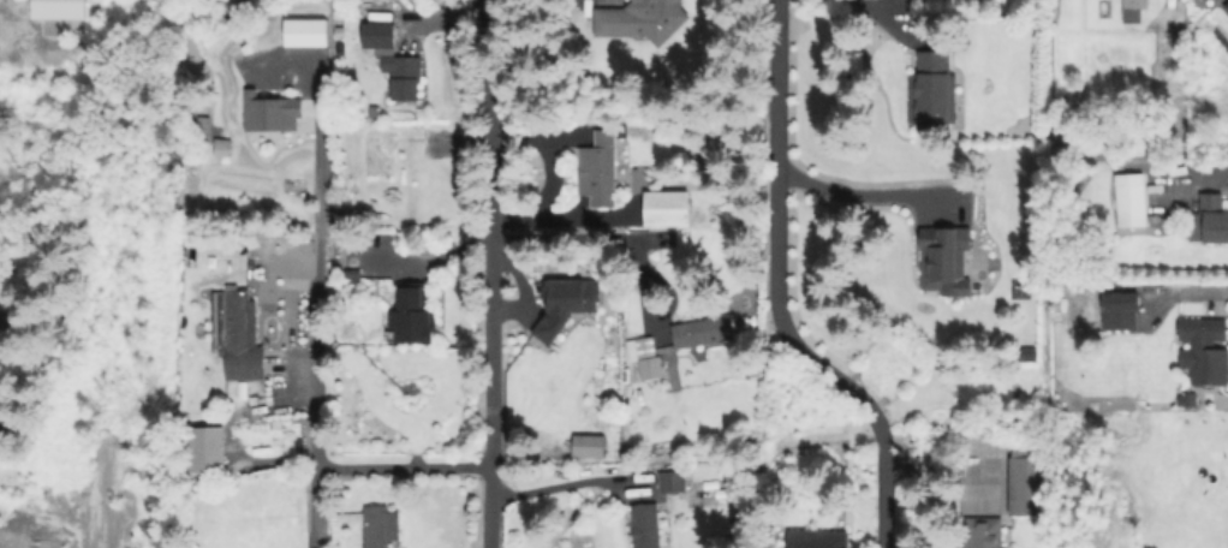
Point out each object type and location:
building: (1227, 6)
building: (64, 8)
building: (1134, 11)
building: (644, 20)
road: (881, 20)
building: (303, 34)
building: (391, 62)
building: (934, 93)
building: (273, 113)
building: (202, 131)
building: (223, 147)
road: (321, 156)
building: (376, 157)
building: (601, 169)
road: (851, 196)
building: (1132, 197)
building: (668, 209)
building: (1210, 221)
road: (586, 237)
building: (946, 258)
road: (490, 273)
road: (775, 293)
road: (1198, 293)
building: (562, 305)
building: (1122, 311)
building: (1, 315)
building: (412, 315)
building: (234, 322)
building: (704, 333)
building: (1206, 351)
building: (648, 359)
road: (322, 361)
building: (589, 446)
building: (209, 449)
road: (405, 465)
road: (950, 471)
building: (674, 482)
road: (561, 484)
building: (1029, 484)
road: (320, 506)
building: (382, 526)
building: (646, 526)
building: (984, 534)
building: (818, 537)

